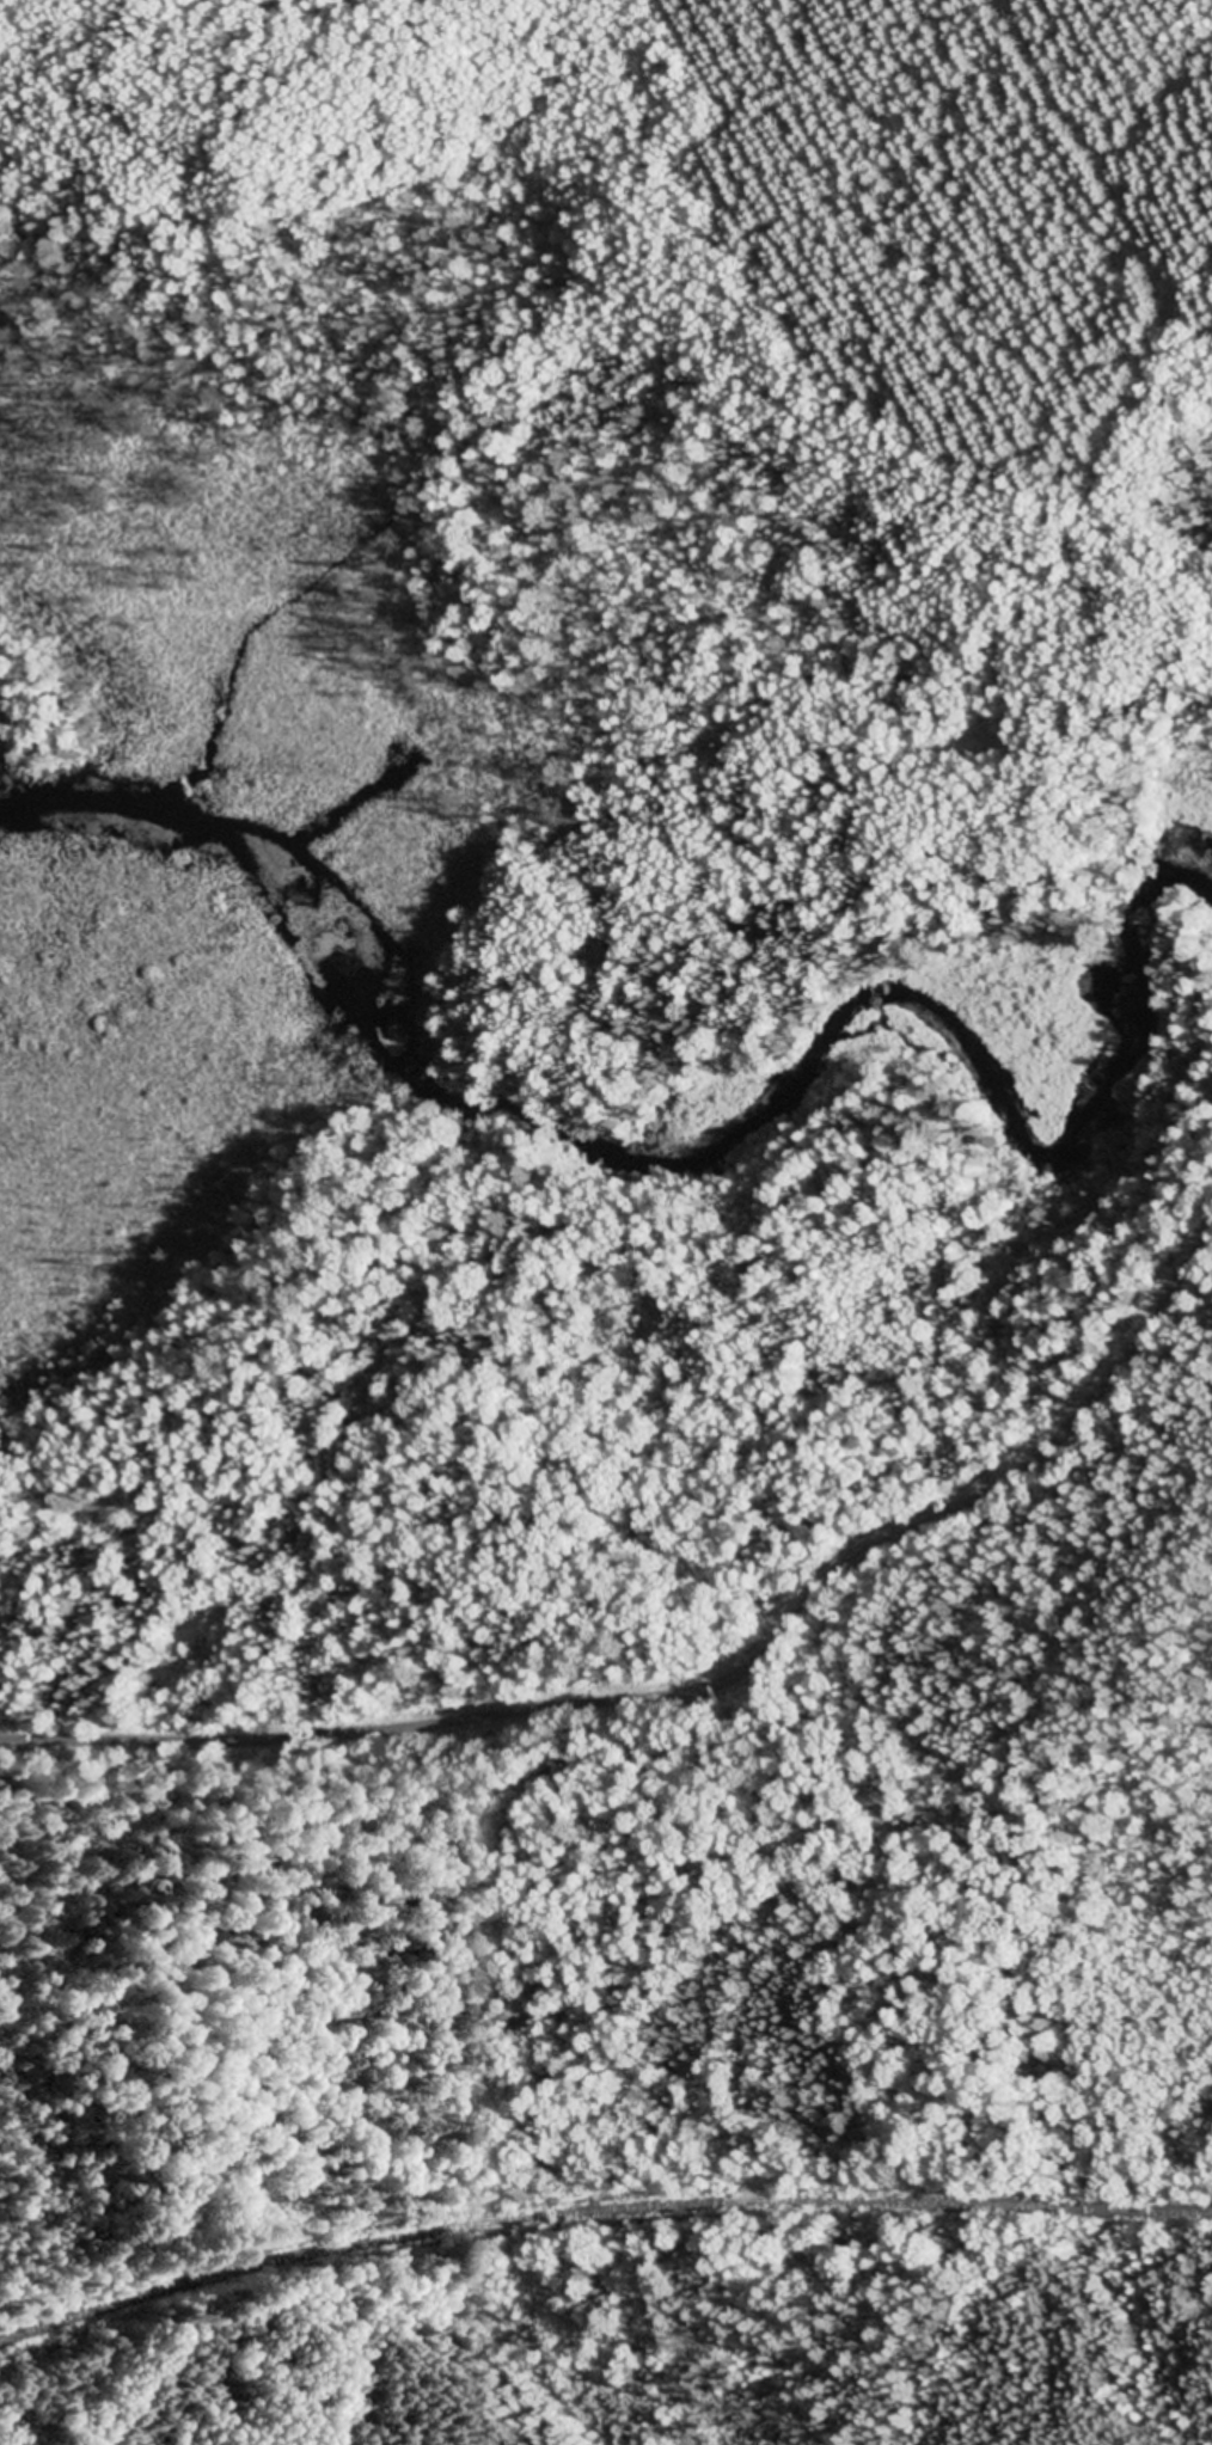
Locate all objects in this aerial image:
road: (1113, 333)
road: (704, 1693)
railway: (598, 2211)

